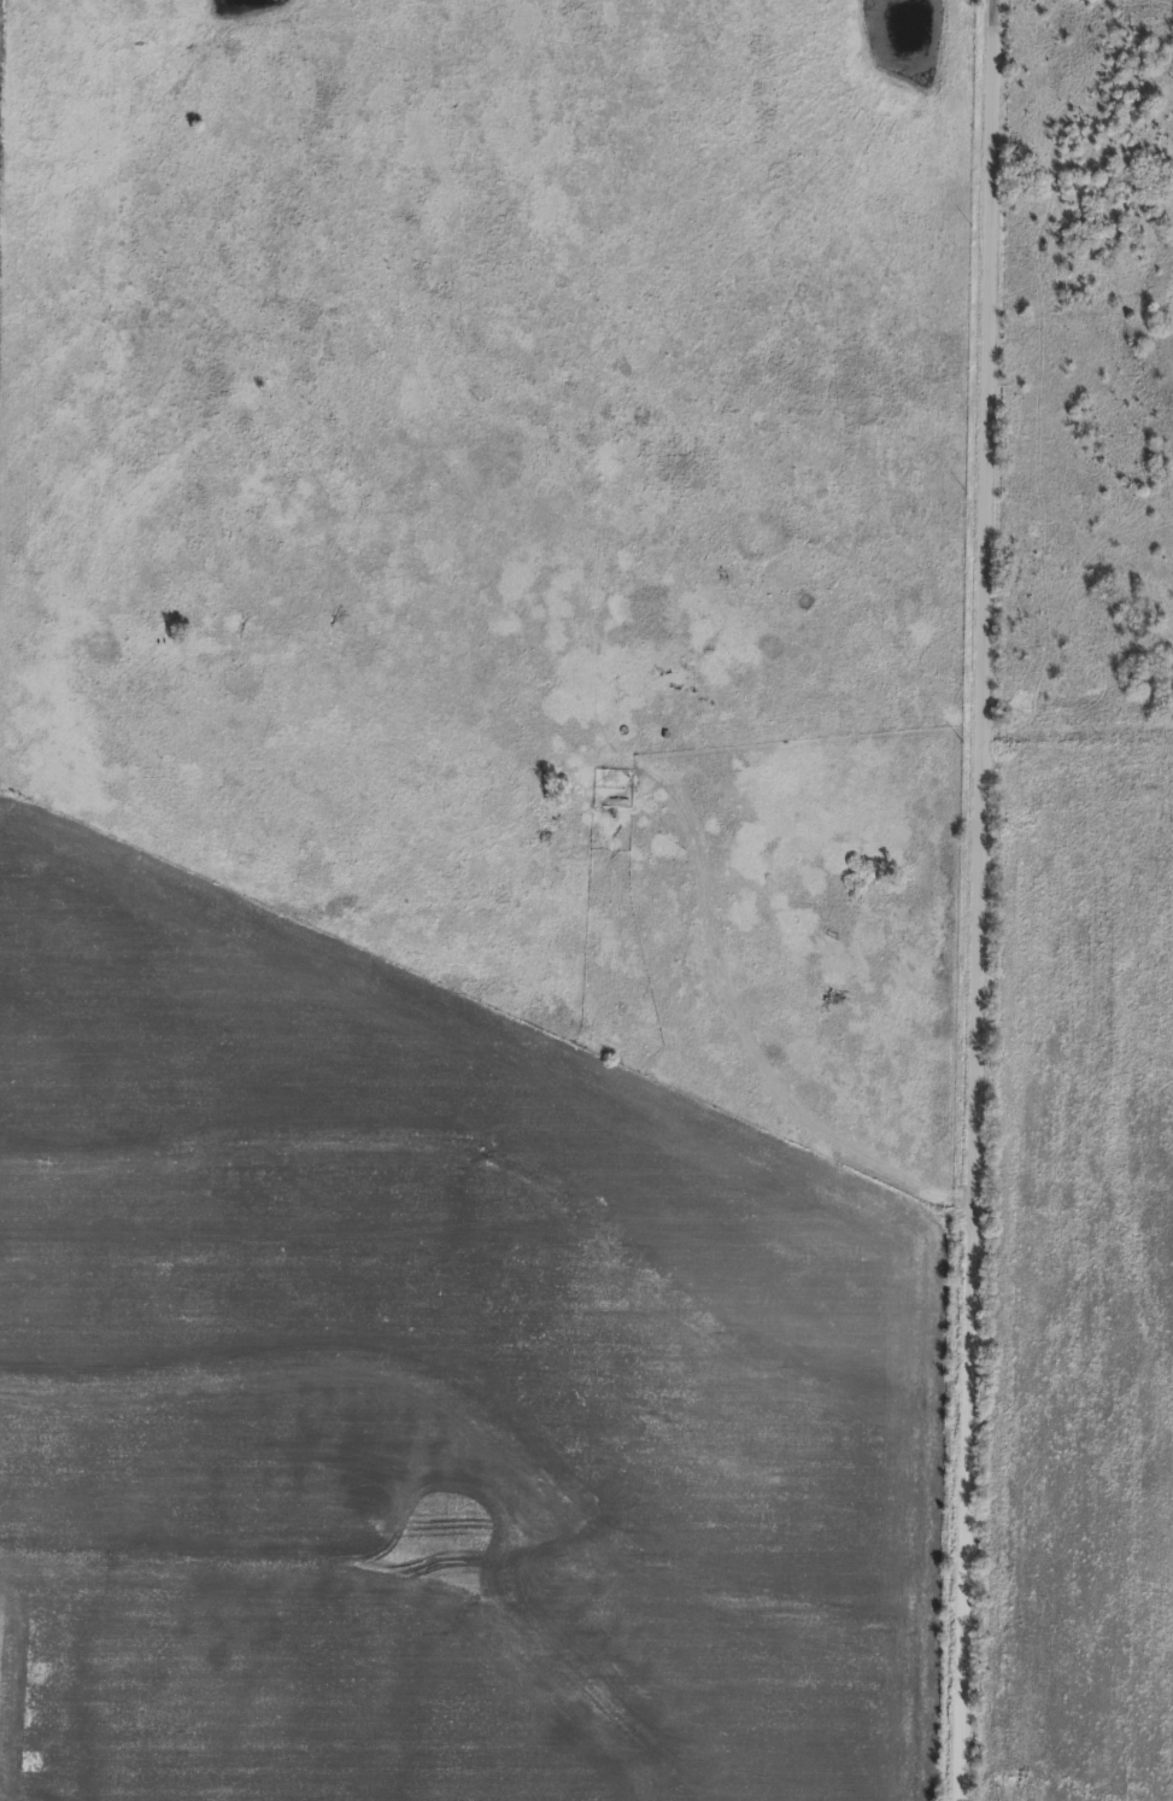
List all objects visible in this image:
road: (990, 900)

